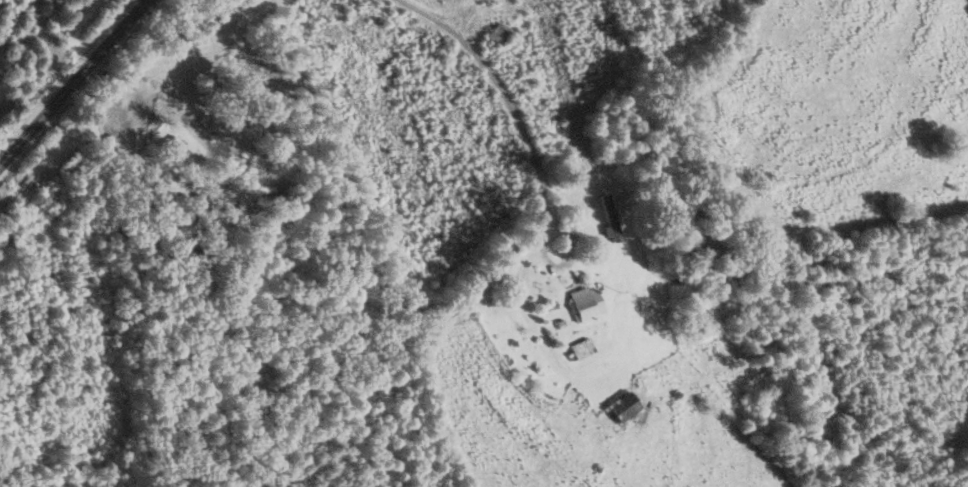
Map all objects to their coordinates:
building: (499, 33)
road: (495, 78)
road: (71, 80)
building: (181, 154)
building: (609, 218)
building: (5, 237)
building: (587, 303)
building: (494, 322)
building: (582, 348)
building: (627, 409)

